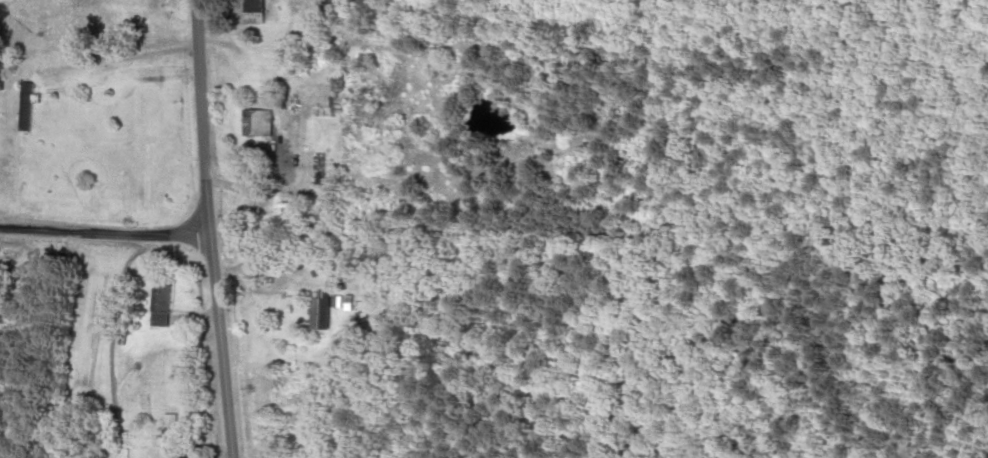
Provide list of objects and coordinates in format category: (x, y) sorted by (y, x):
building: (261, 11)
building: (344, 81)
building: (32, 105)
road: (205, 122)
building: (262, 122)
building: (127, 158)
building: (323, 169)
road: (103, 244)
building: (164, 304)
building: (327, 310)
road: (216, 350)

